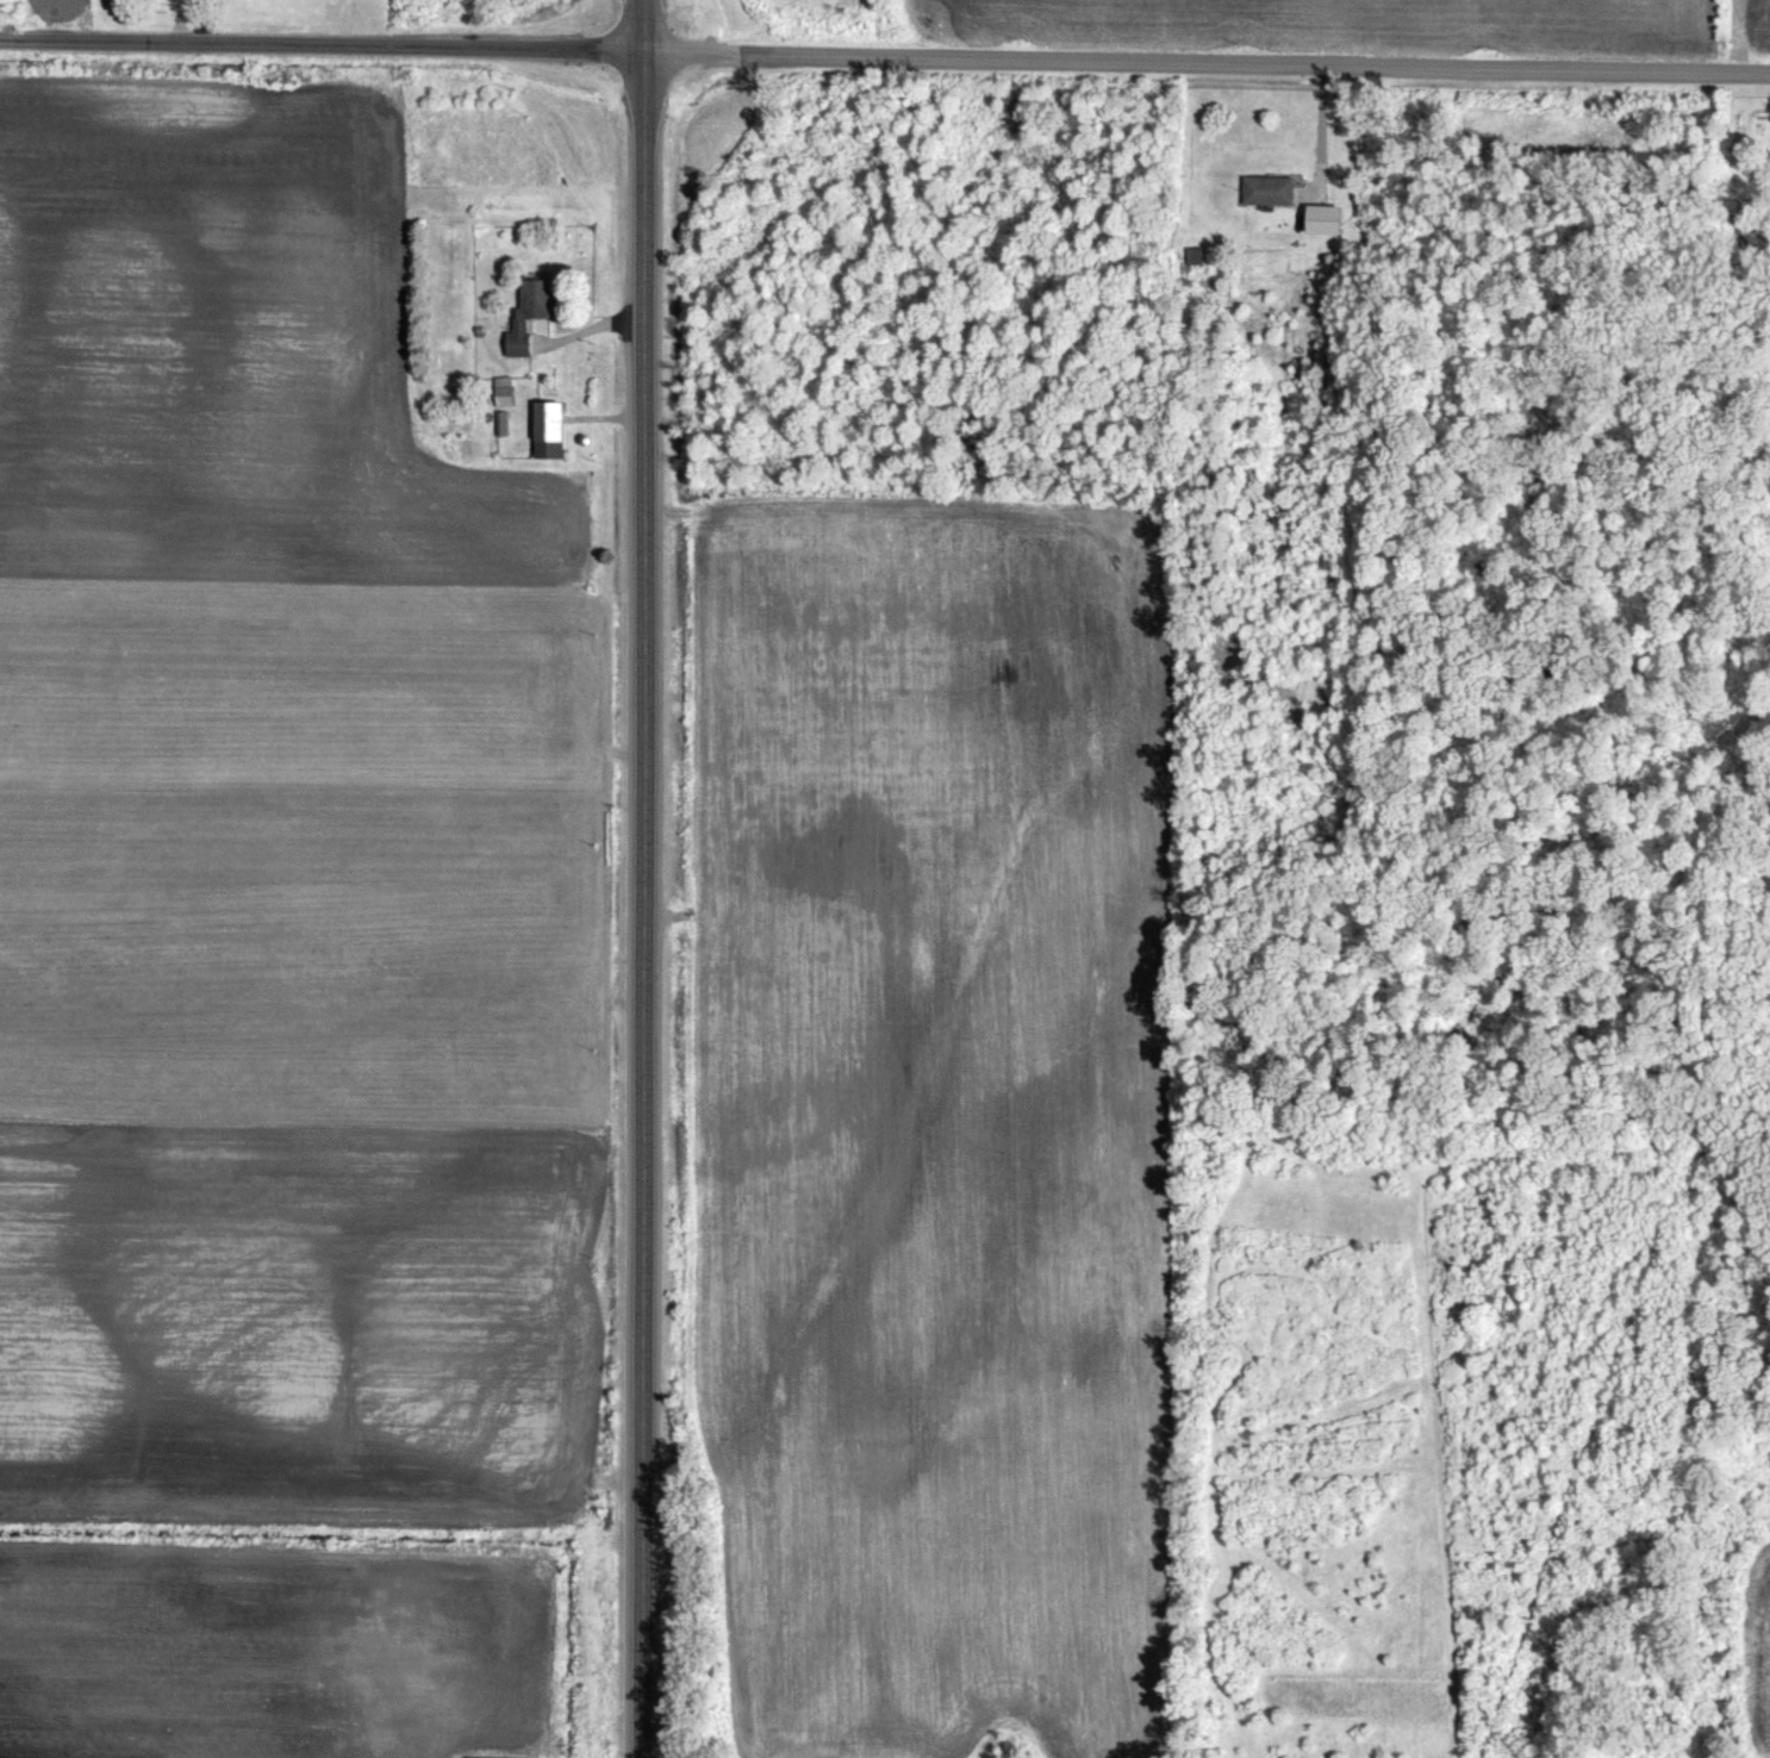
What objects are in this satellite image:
road: (320, 43)
road: (1205, 60)
building: (1272, 189)
building: (1327, 218)
building: (1193, 255)
building: (529, 314)
building: (504, 391)
building: (549, 429)
road: (641, 878)
building: (494, 1757)

